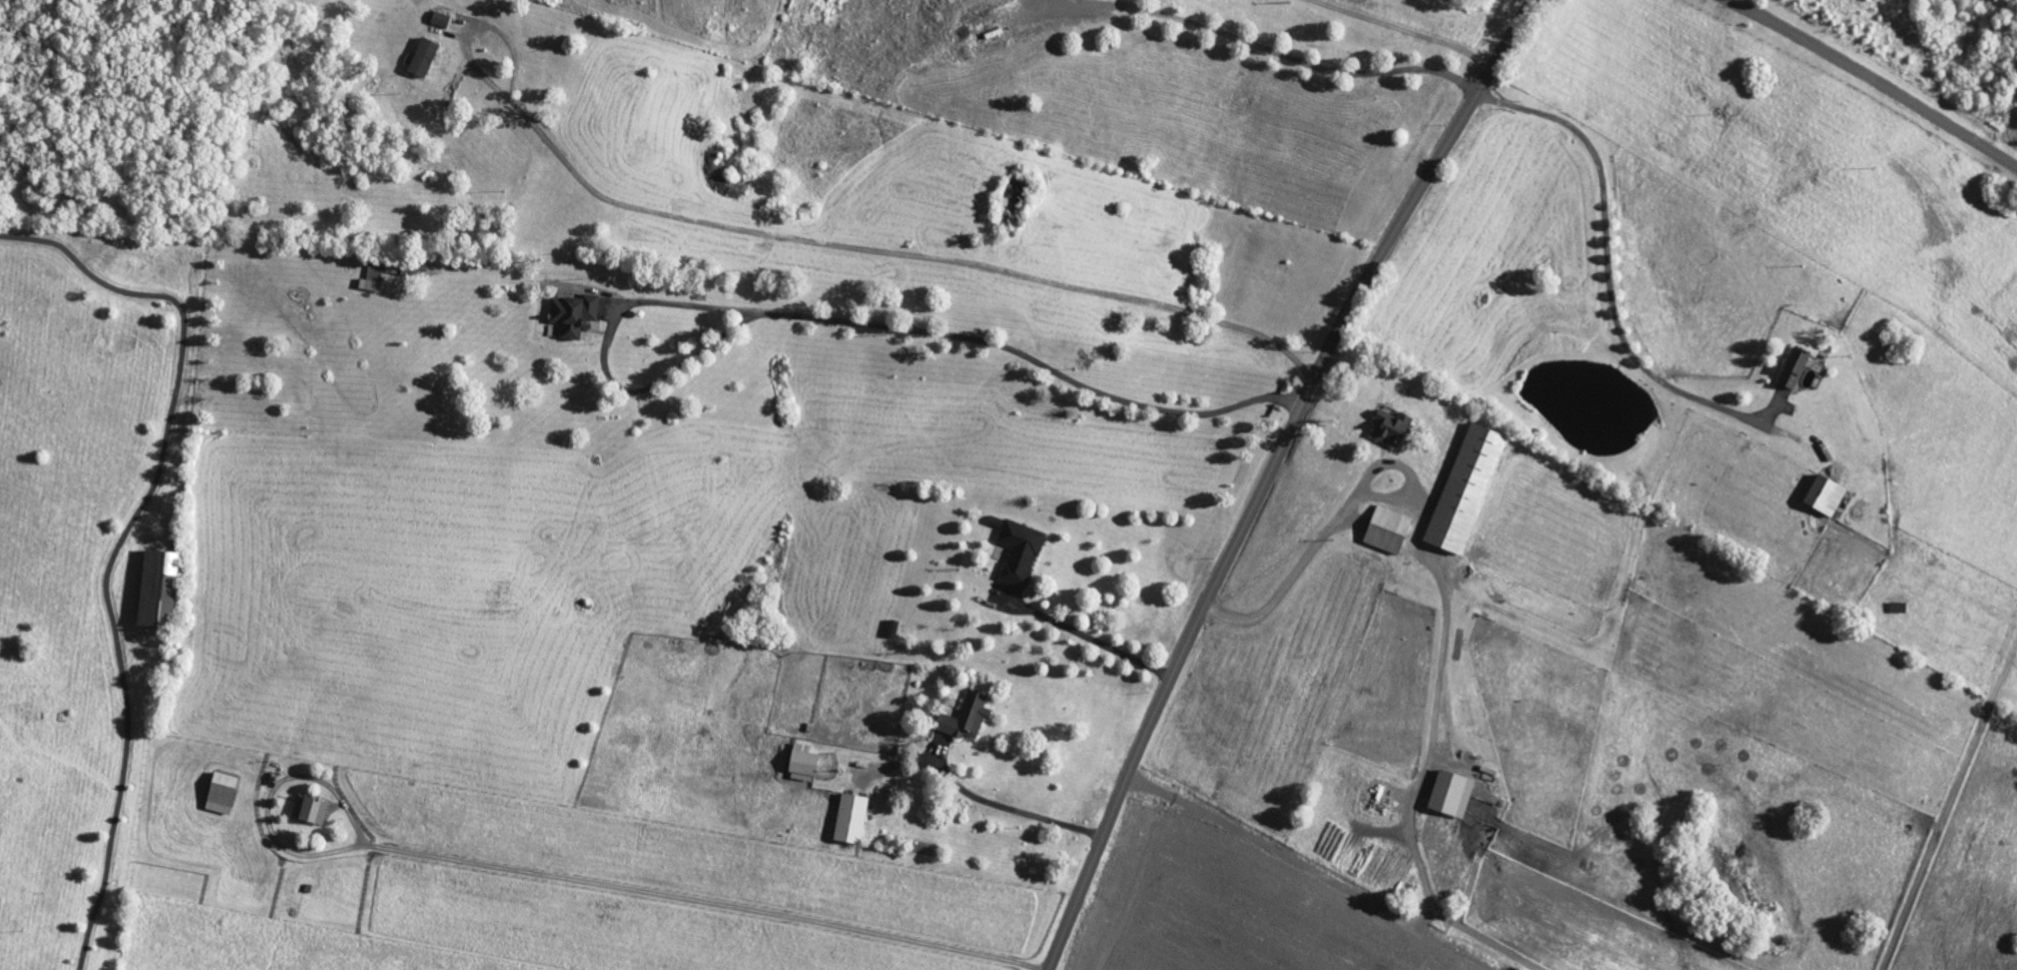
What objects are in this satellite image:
building: (439, 19)
road: (1405, 31)
road: (1281, 54)
building: (421, 56)
road: (1874, 80)
road: (1607, 253)
road: (881, 254)
building: (370, 278)
building: (572, 313)
road: (837, 319)
building: (1792, 368)
building: (1389, 427)
road: (1270, 474)
building: (1464, 488)
building: (1823, 495)
road: (1335, 523)
building: (1386, 529)
road: (124, 537)
building: (1019, 551)
park: (87, 564)
building: (154, 587)
road: (1090, 637)
building: (964, 717)
building: (801, 762)
building: (219, 792)
building: (1449, 794)
road: (1011, 809)
building: (308, 810)
building: (849, 819)
road: (681, 898)

